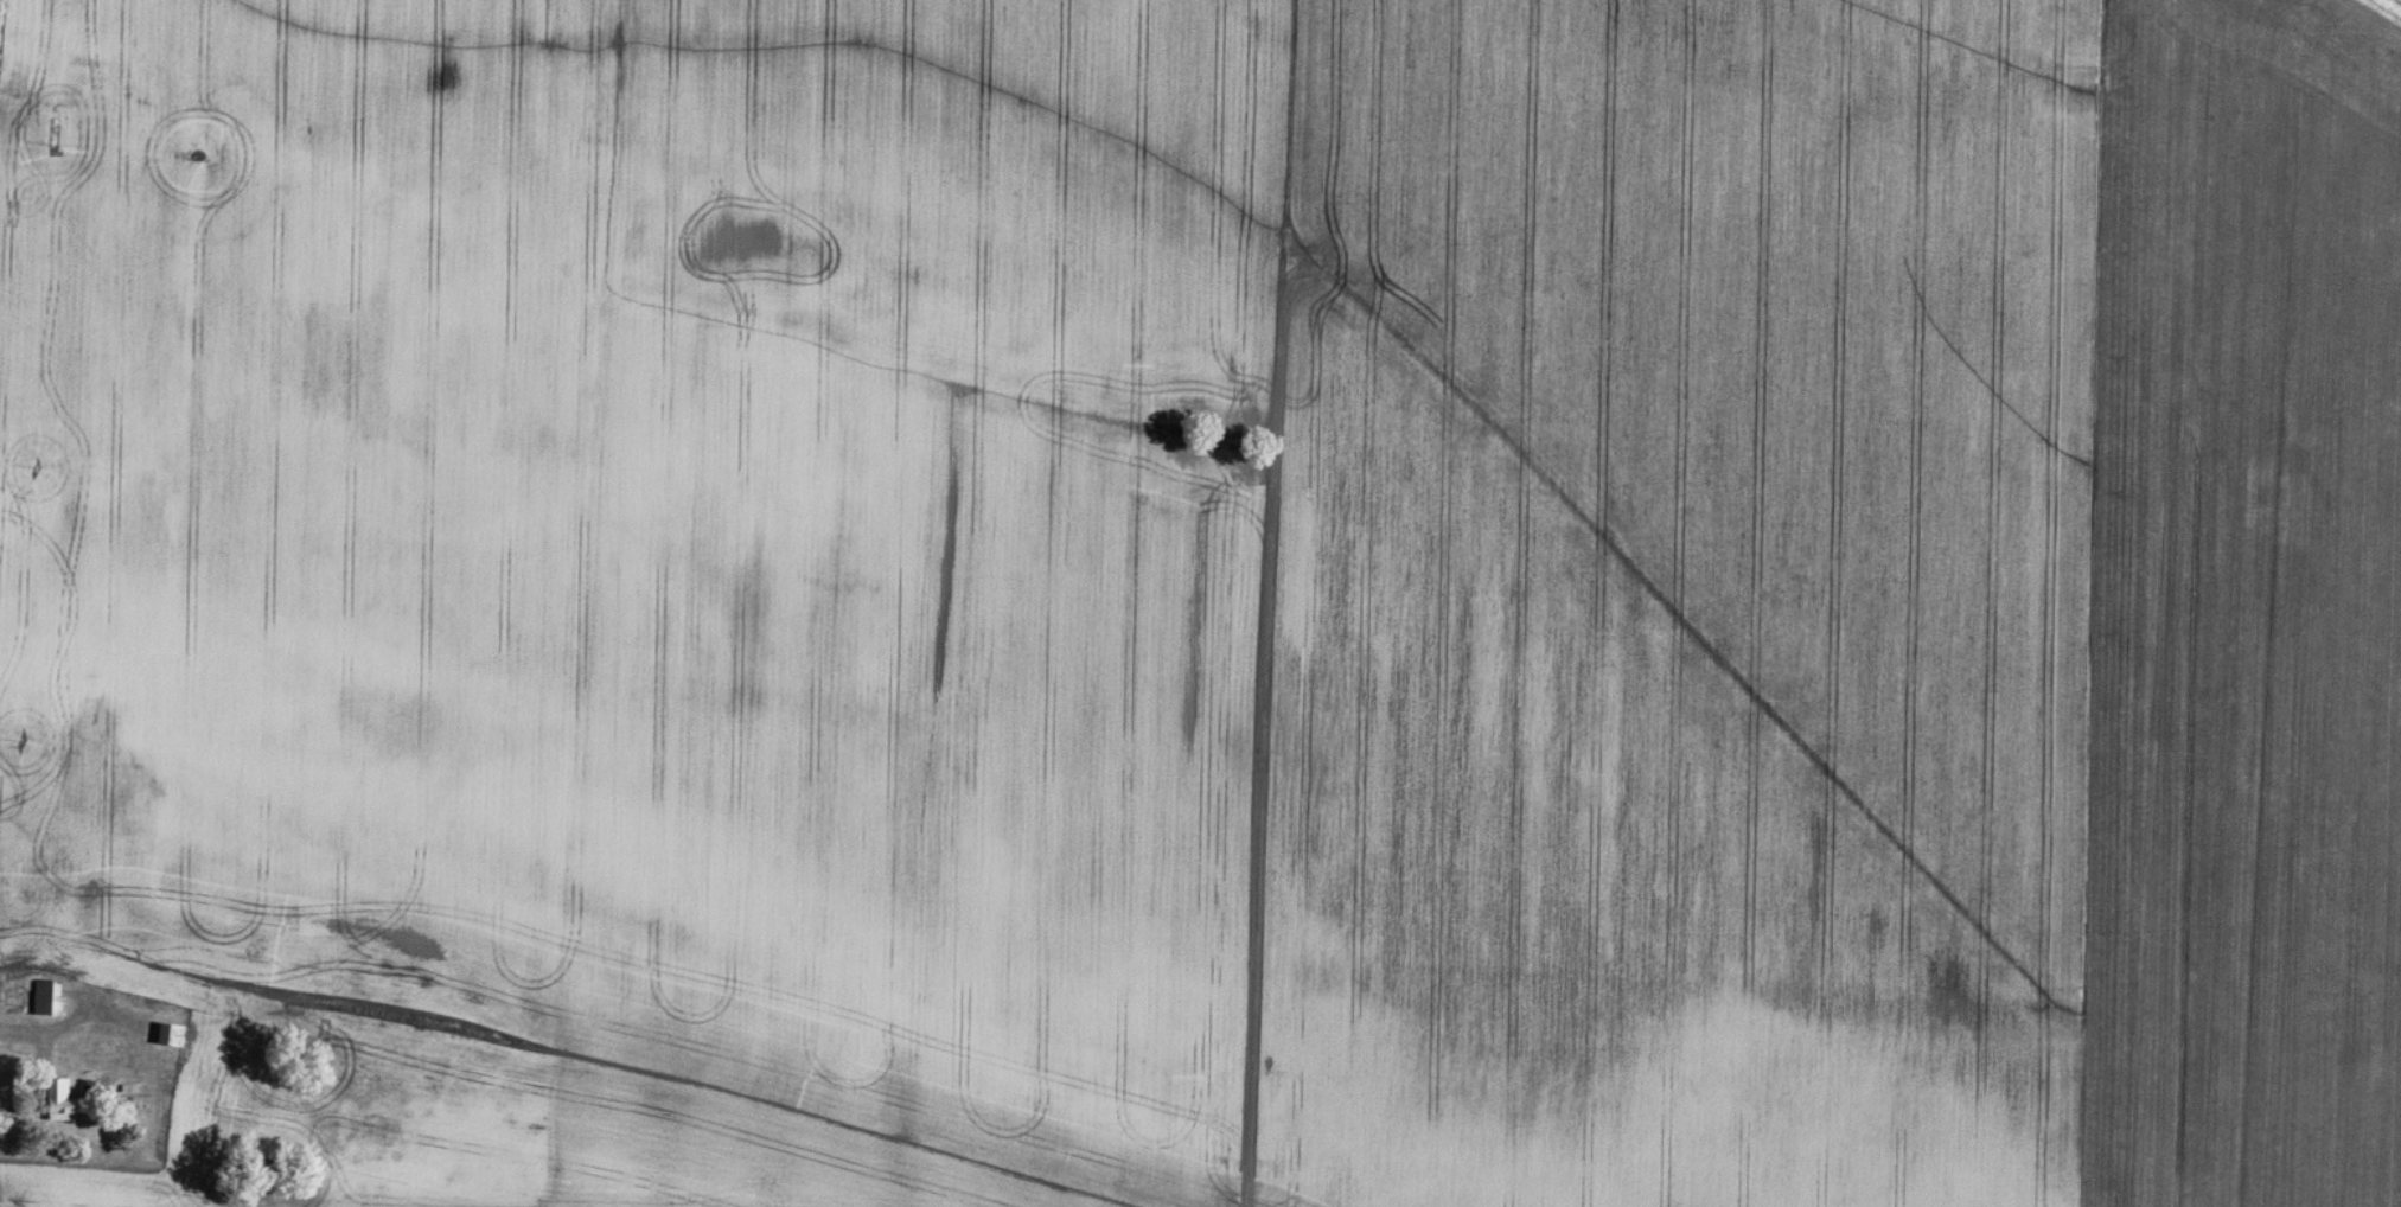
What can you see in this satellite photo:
building: (94, 765)
building: (43, 1000)
road: (72, 1024)
building: (165, 1036)
building: (53, 1101)

